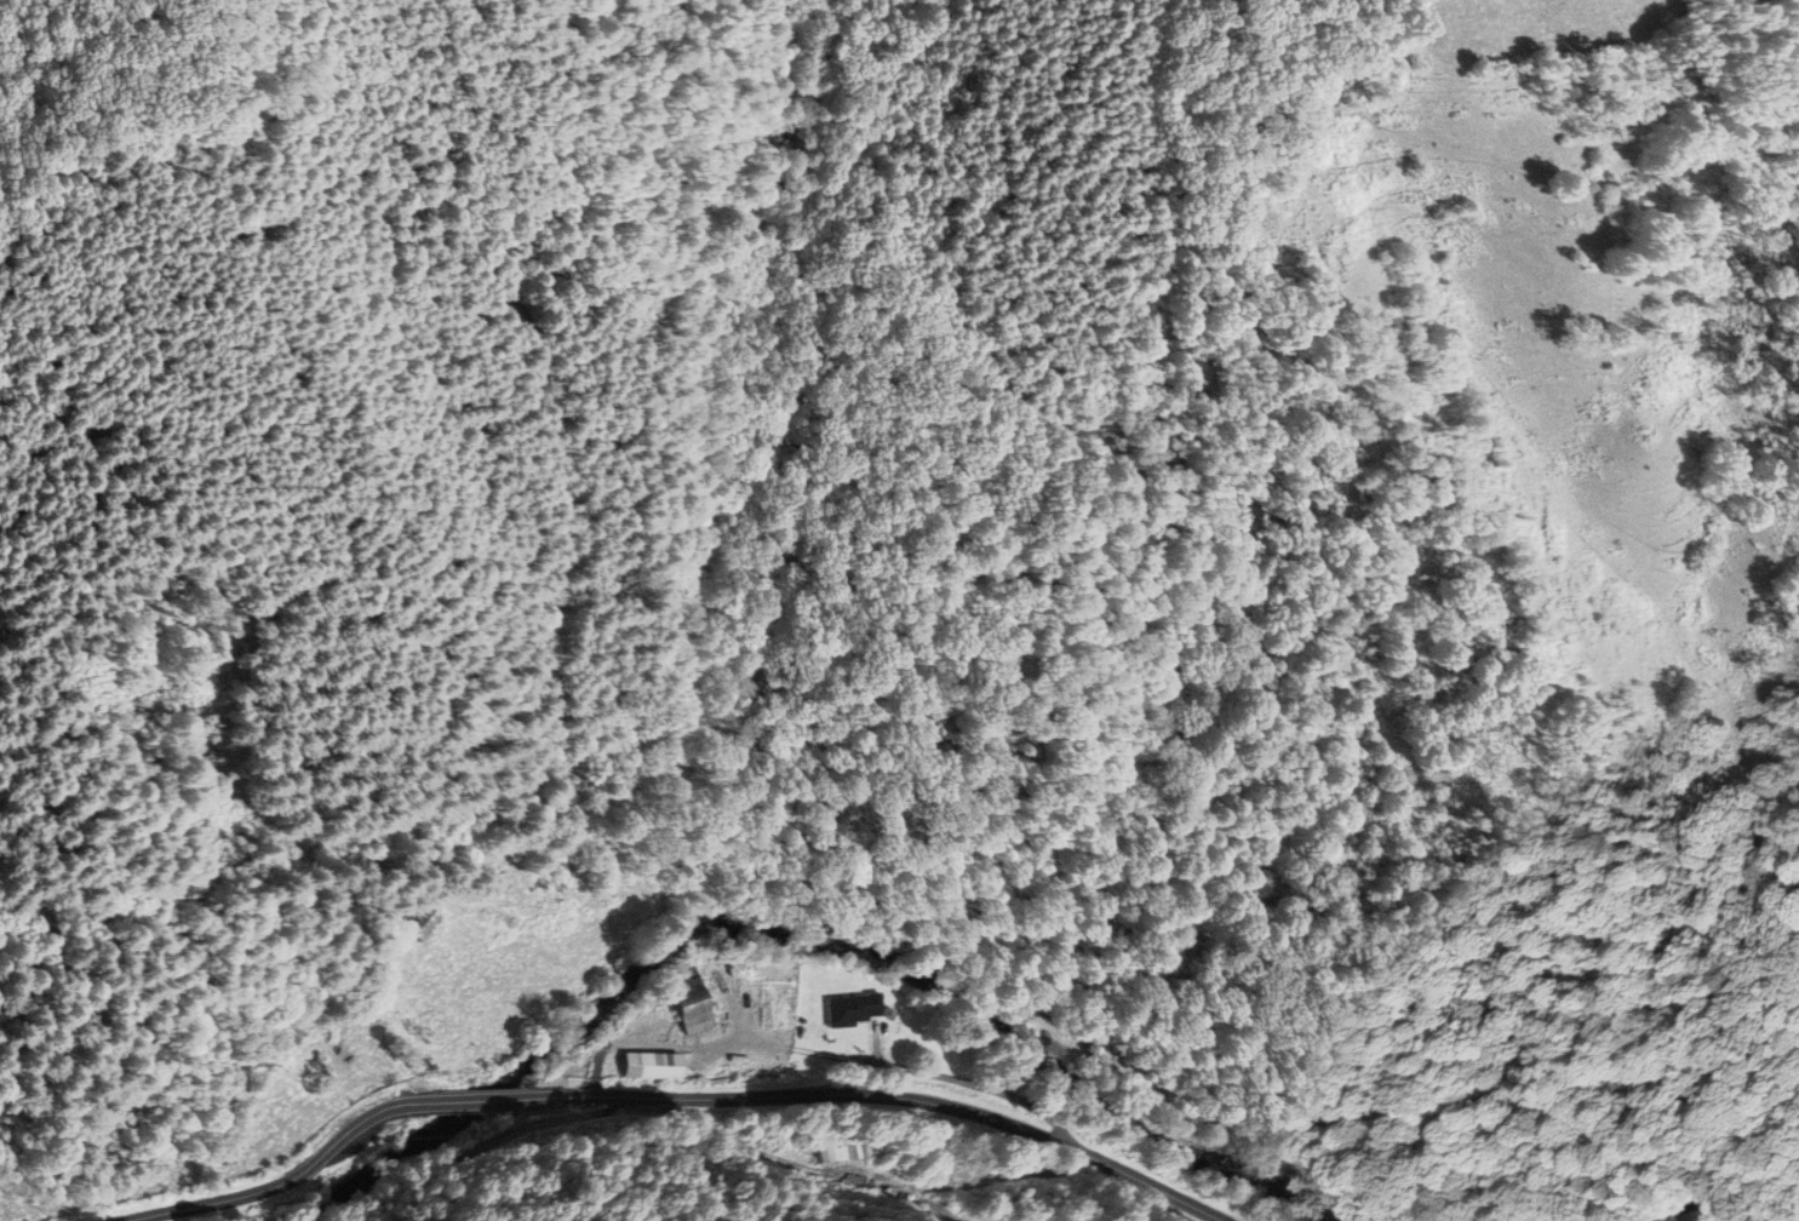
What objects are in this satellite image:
building: (417, 923)
building: (681, 1007)
building: (846, 1008)
building: (340, 1025)
road: (674, 1093)
building: (824, 1147)

